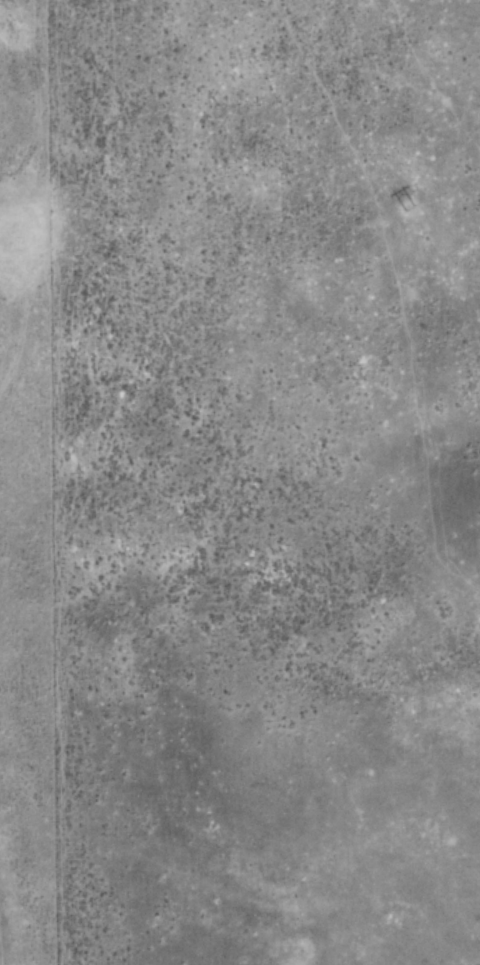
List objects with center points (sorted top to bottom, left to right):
power tower: (400, 207)

